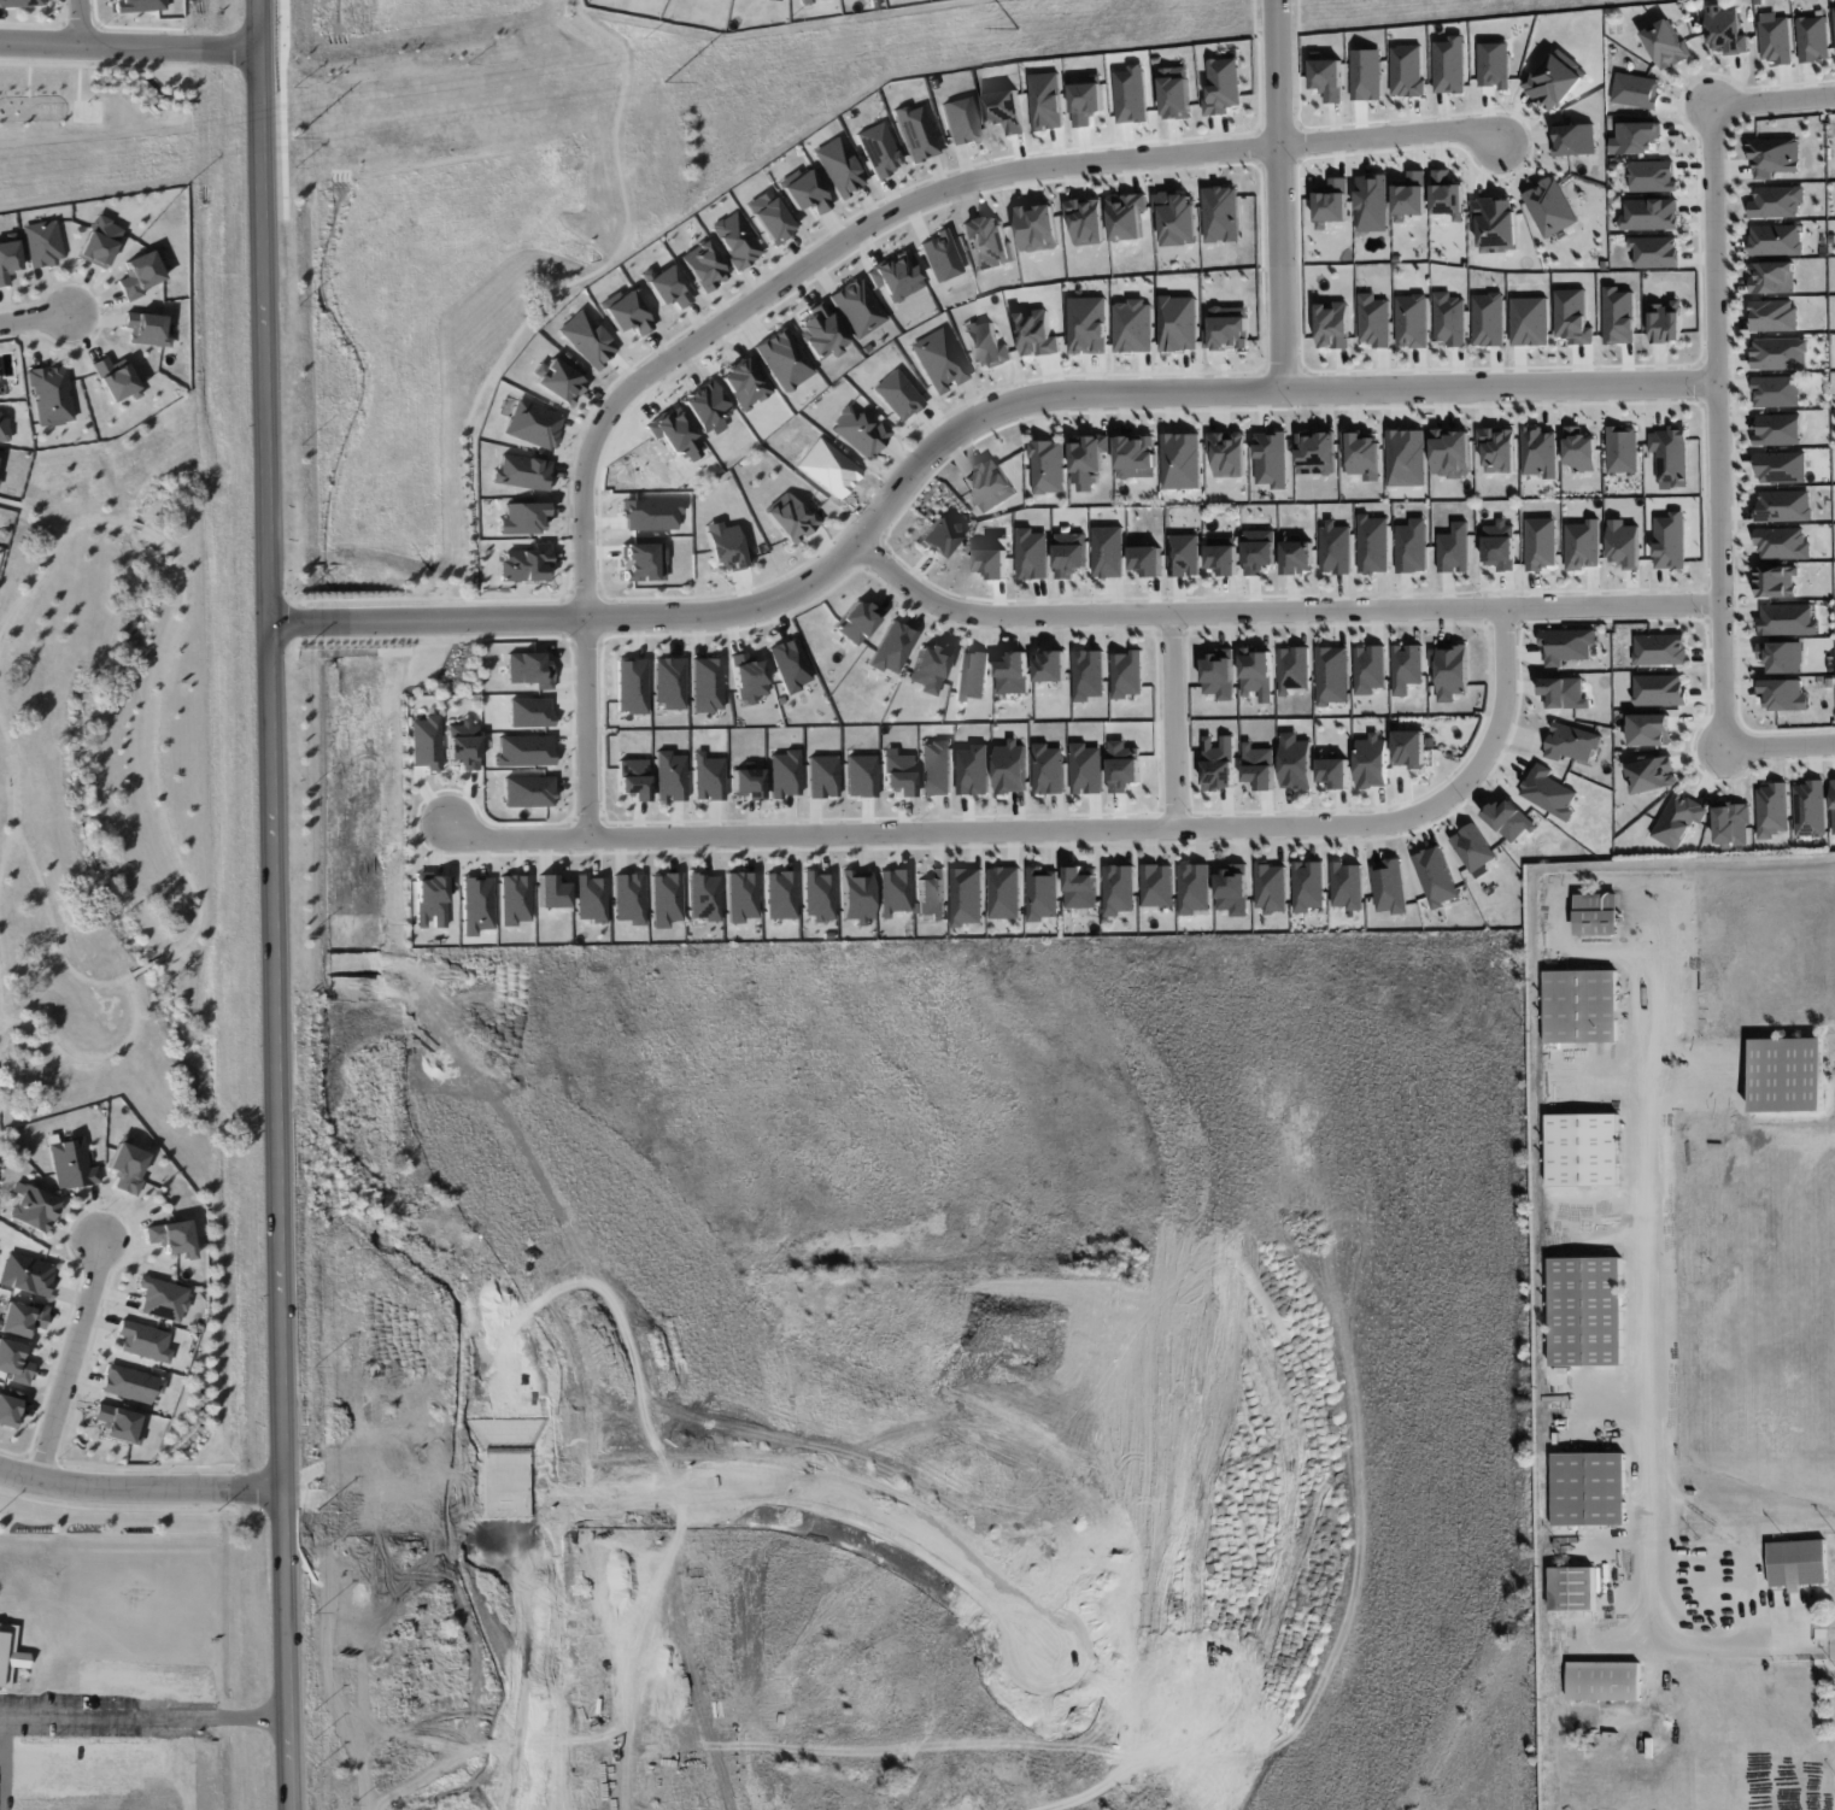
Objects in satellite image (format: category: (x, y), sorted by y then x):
building: (776, 0)
building: (803, 0)
building: (20, 2)
building: (1834, 13)
road: (81, 23)
power tower: (1018, 30)
building: (1724, 31)
building: (1775, 39)
building: (1812, 39)
building: (1665, 43)
road: (128, 47)
building: (1449, 65)
building: (1494, 65)
building: (1406, 70)
building: (1366, 75)
building: (1327, 78)
building: (1554, 81)
power tower: (662, 83)
building: (1223, 86)
building: (1635, 90)
building: (1176, 93)
building: (1131, 95)
road: (1774, 98)
building: (1086, 100)
building: (1047, 101)
building: (1006, 110)
building: (961, 121)
building: (915, 133)
building: (1635, 137)
power tower: (293, 139)
building: (1575, 139)
building: (878, 148)
building: (1774, 157)
building: (838, 166)
building: (1652, 176)
building: (803, 190)
road: (1282, 194)
building: (1447, 194)
building: (1411, 195)
building: (1332, 201)
building: (1776, 201)
building: (1371, 202)
building: (1549, 207)
building: (1221, 215)
building: (1649, 215)
building: (1127, 216)
building: (769, 217)
building: (1177, 217)
building: (1086, 221)
building: (1496, 224)
building: (1037, 228)
building: (735, 240)
building: (989, 240)
building: (1775, 240)
building: (99, 241)
building: (42, 242)
road: (827, 251)
building: (1654, 252)
building: (940, 255)
building: (7, 260)
building: (703, 266)
building: (140, 274)
building: (895, 276)
building: (1771, 277)
building: (666, 286)
building: (856, 307)
building: (626, 312)
building: (1618, 316)
building: (1774, 316)
road: (34, 317)
building: (1572, 317)
building: (1449, 318)
building: (1488, 319)
building: (1373, 321)
building: (1412, 321)
building: (1529, 321)
building: (1666, 322)
building: (1178, 323)
building: (1333, 324)
building: (1087, 325)
building: (1132, 325)
building: (145, 328)
building: (1227, 329)
building: (820, 331)
building: (1036, 333)
building: (586, 339)
building: (985, 343)
road: (511, 346)
building: (1780, 353)
building: (782, 359)
building: (937, 360)
building: (115, 378)
building: (559, 381)
building: (744, 382)
building: (1776, 392)
building: (897, 394)
building: (51, 395)
building: (533, 424)
road: (1718, 424)
building: (4, 425)
road: (962, 429)
building: (1777, 430)
building: (858, 431)
building: (1622, 448)
building: (1497, 449)
building: (1579, 449)
building: (1540, 452)
building: (1229, 453)
building: (1317, 453)
building: (1450, 453)
building: (1362, 454)
building: (1670, 454)
building: (1136, 456)
building: (1406, 457)
building: (1272, 459)
building: (1182, 460)
building: (1089, 462)
building: (1048, 466)
building: (1781, 468)
building: (522, 472)
building: (990, 484)
building: (1783, 505)
building: (523, 517)
building: (790, 517)
building: (938, 537)
building: (1670, 541)
building: (1373, 543)
building: (1541, 543)
building: (1624, 543)
building: (1782, 543)
building: (1583, 545)
building: (1412, 546)
building: (1500, 546)
building: (726, 547)
building: (1336, 547)
building: (1454, 548)
building: (1108, 551)
building: (1259, 551)
building: (1032, 554)
building: (1069, 554)
building: (1184, 554)
building: (1297, 556)
building: (1224, 559)
building: (1147, 560)
building: (524, 563)
building: (991, 563)
building: (1776, 581)
road: (1280, 610)
building: (1787, 619)
building: (857, 621)
road: (172, 641)
building: (1566, 645)
building: (892, 647)
building: (1659, 650)
building: (1782, 656)
building: (788, 665)
building: (930, 666)
building: (1050, 666)
building: (1407, 668)
building: (1294, 669)
building: (1370, 669)
building: (1449, 671)
building: (1014, 674)
building: (1127, 674)
building: (1220, 674)
building: (1257, 674)
building: (972, 675)
building: (1087, 675)
building: (1332, 675)
building: (748, 677)
building: (668, 682)
building: (707, 683)
building: (631, 686)
building: (1659, 689)
building: (1564, 693)
building: (1783, 694)
road: (1176, 719)
building: (1648, 729)
building: (424, 742)
building: (1571, 742)
road: (1780, 745)
building: (1409, 748)
building: (1295, 762)
building: (1372, 762)
building: (1219, 763)
building: (1010, 766)
building: (1124, 766)
building: (1259, 766)
building: (934, 768)
building: (1048, 769)
building: (1085, 769)
building: (973, 770)
building: (1333, 772)
building: (784, 774)
building: (897, 774)
building: (860, 775)
building: (1651, 775)
building: (669, 776)
building: (821, 776)
building: (633, 777)
building: (707, 777)
building: (745, 783)
building: (1548, 792)
road: (16, 797)
building: (1833, 803)
building: (1808, 809)
building: (1771, 810)
building: (1508, 819)
building: (1678, 819)
building: (1731, 824)
road: (1053, 828)
building: (1472, 847)
building: (1436, 876)
building: (1157, 885)
building: (1308, 886)
building: (1347, 886)
building: (1390, 886)
building: (1271, 887)
building: (1080, 888)
building: (1194, 888)
building: (1119, 889)
building: (892, 891)
building: (1233, 891)
building: (1006, 893)
building: (1043, 893)
building: (779, 894)
building: (932, 894)
building: (740, 895)
building: (817, 895)
building: (855, 895)
building: (703, 897)
building: (968, 897)
building: (590, 898)
building: (627, 898)
building: (664, 899)
road: (274, 904)
road: (54, 930)
road: (148, 964)
road: (1, 1003)
building: (1581, 1006)
road: (95, 1056)
building: (1787, 1074)
building: (1583, 1150)
building: (70, 1160)
building: (127, 1168)
building: (34, 1206)
road: (110, 1206)
road: (94, 1210)
road: (113, 1215)
road: (152, 1218)
road: (131, 1222)
road: (74, 1238)
building: (171, 1238)
building: (25, 1274)
road: (118, 1294)
building: (163, 1299)
building: (1585, 1311)
building: (22, 1318)
road: (102, 1320)
building: (143, 1341)
road: (1647, 1353)
road: (72, 1359)
building: (13, 1362)
road: (86, 1376)
building: (131, 1383)
road: (87, 1405)
building: (10, 1408)
building: (118, 1424)
road: (30, 1448)
road: (14, 1452)
road: (43, 1459)
road: (106, 1464)
road: (199, 1465)
road: (234, 1487)
building: (1588, 1488)
road: (140, 1489)
road: (117, 1509)
building: (1796, 1563)
building: (1572, 1588)
road: (1833, 1650)
building: (1602, 1681)
road: (143, 1715)
road: (1100, 1798)

